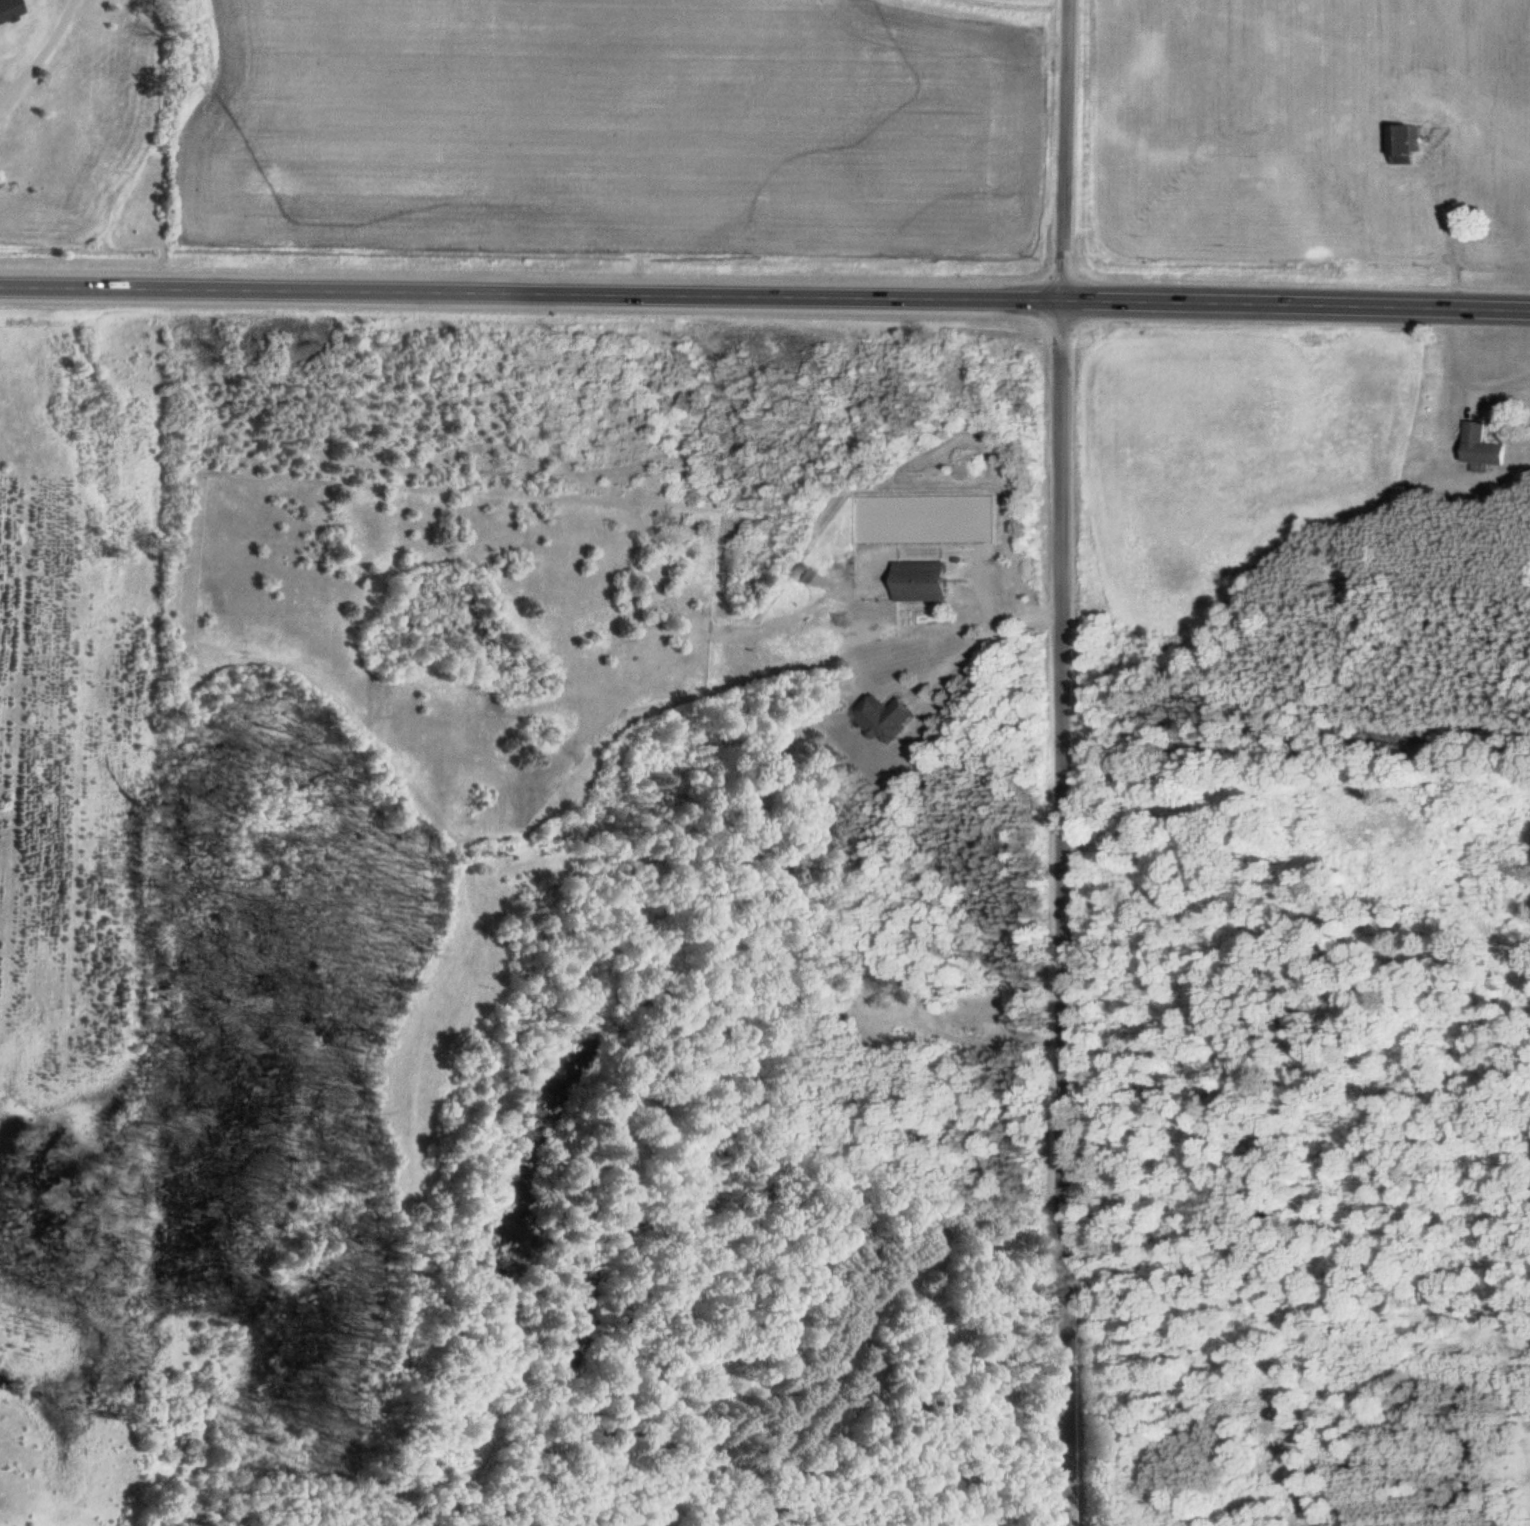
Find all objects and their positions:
building: (5, 9)
building: (1403, 143)
road: (1068, 149)
road: (765, 295)
building: (1479, 446)
building: (800, 571)
building: (919, 581)
building: (883, 717)
road: (1063, 912)

